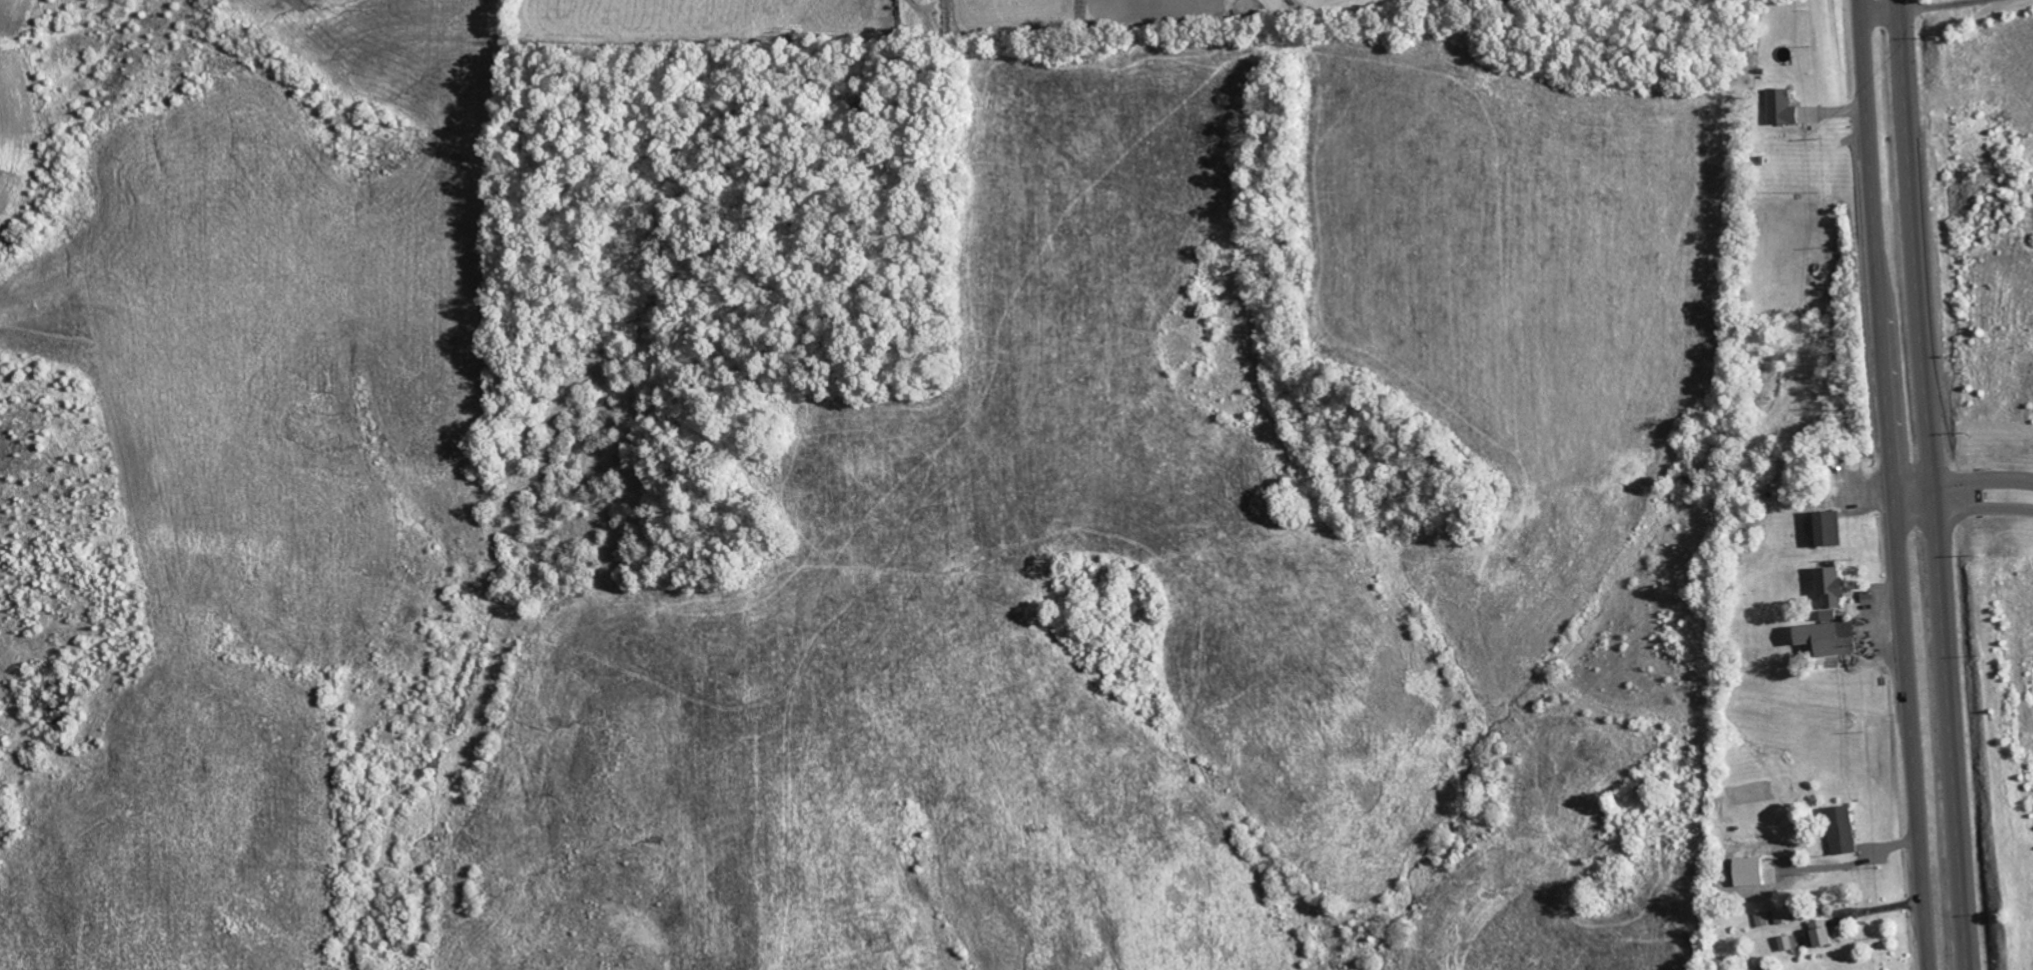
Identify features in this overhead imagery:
building: (1779, 107)
road: (1982, 479)
road: (1893, 484)
road: (1931, 484)
road: (1983, 508)
building: (1825, 528)
building: (1827, 585)
building: (1826, 615)
building: (1822, 637)
building: (1838, 830)
building: (1747, 871)
building: (1781, 915)
building: (1818, 933)
building: (1787, 942)

